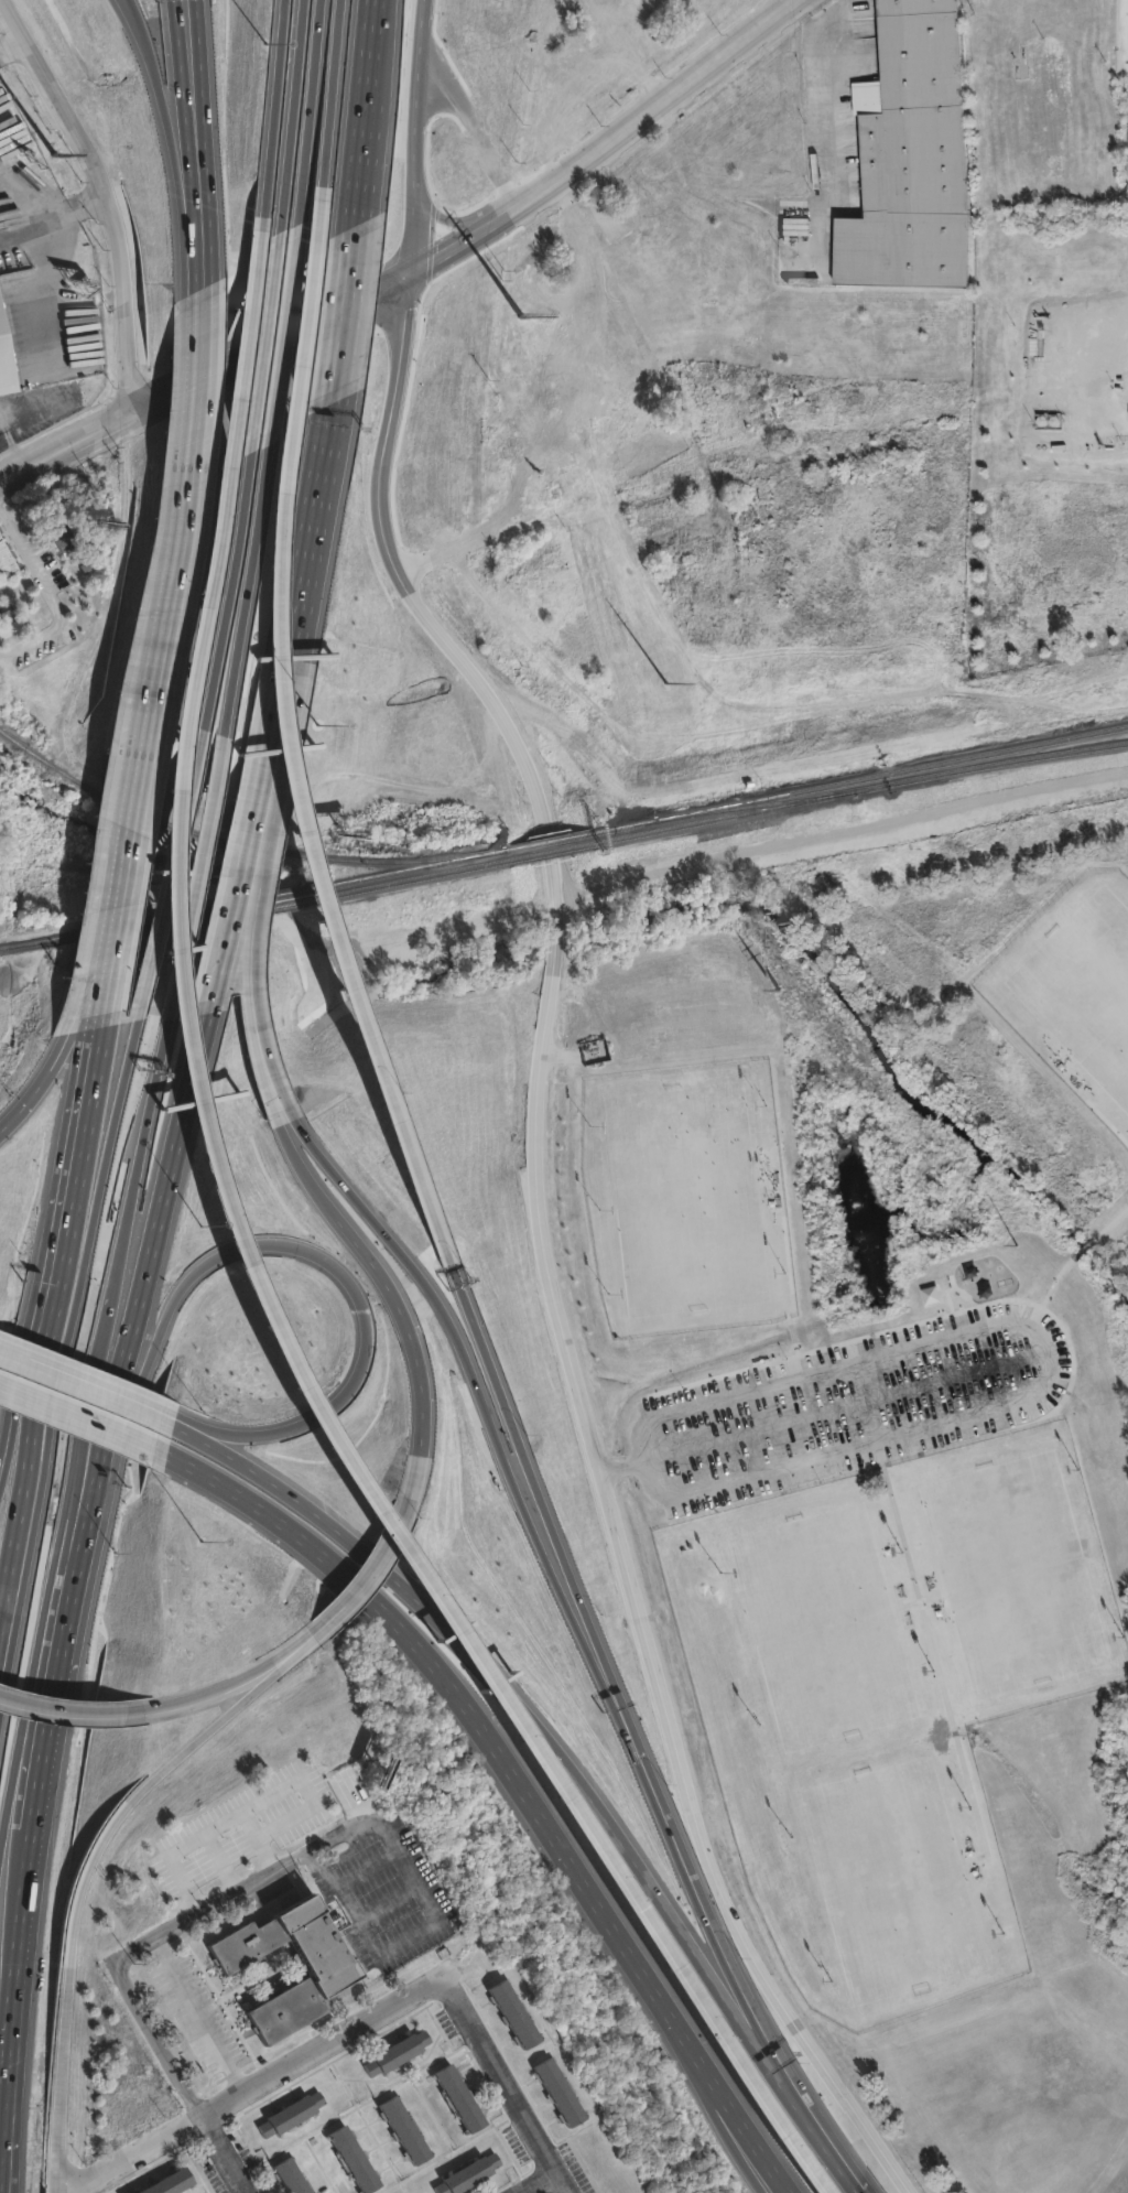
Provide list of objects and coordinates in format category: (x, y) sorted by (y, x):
road: (137, 1)
road: (191, 36)
road: (195, 36)
road: (379, 54)
road: (329, 91)
road: (307, 111)
road: (290, 115)
road: (269, 116)
road: (828, 131)
road: (414, 133)
road: (177, 145)
building: (914, 159)
road: (369, 163)
power tower: (63, 175)
road: (208, 177)
road: (25, 193)
road: (108, 194)
road: (19, 242)
road: (39, 256)
road: (416, 266)
road: (350, 307)
road: (282, 326)
road: (263, 334)
building: (4, 368)
road: (209, 397)
road: (194, 403)
road: (220, 478)
building: (105, 522)
building: (59, 541)
road: (304, 576)
road: (223, 587)
road: (243, 587)
road: (47, 592)
building: (17, 599)
building: (7, 618)
road: (163, 685)
road: (280, 738)
power tower: (561, 758)
road: (272, 770)
railway: (847, 782)
railway: (848, 795)
railway: (734, 811)
railway: (546, 842)
railway: (236, 844)
road: (262, 852)
railway: (551, 855)
railway: (422, 866)
road: (171, 869)
road: (195, 872)
railway: (427, 879)
road: (247, 883)
road: (127, 888)
railway: (276, 896)
railway: (279, 908)
railway: (116, 928)
railway: (163, 928)
park: (832, 936)
road: (106, 951)
road: (122, 952)
road: (256, 952)
road: (261, 952)
park: (1082, 986)
power tower: (787, 1002)
road: (110, 1057)
road: (57, 1071)
road: (282, 1105)
road: (1095, 1112)
road: (141, 1133)
road: (109, 1169)
park: (683, 1199)
road: (1109, 1223)
road: (265, 1241)
road: (545, 1242)
road: (240, 1246)
road: (1081, 1250)
power tower: (1024, 1264)
road: (788, 1273)
road: (155, 1282)
road: (1046, 1292)
road: (48, 1293)
road: (464, 1330)
road: (422, 1344)
road: (94, 1370)
road: (56, 1371)
road: (1051, 1373)
road: (91, 1384)
parking lot: (849, 1406)
road: (89, 1409)
road: (87, 1471)
road: (547, 1480)
road: (63, 1521)
road: (378, 1566)
park: (1017, 1576)
road: (916, 1600)
road: (67, 1629)
road: (2, 1630)
park: (824, 1630)
road: (317, 1631)
road: (456, 1668)
road: (936, 1668)
road: (236, 1679)
road: (527, 1704)
road: (78, 1713)
road: (43, 1753)
road: (261, 1801)
road: (4, 1813)
road: (220, 1861)
road: (286, 1865)
road: (91, 1866)
road: (366, 1868)
park: (892, 1882)
road: (704, 1887)
road: (386, 1903)
road: (193, 1914)
road: (432, 1917)
road: (670, 1949)
road: (20, 1953)
building: (330, 1968)
road: (199, 2014)
building: (514, 2014)
road: (155, 2040)
road: (322, 2044)
building: (397, 2054)
road: (725, 2079)
road: (713, 2081)
road: (503, 2083)
building: (560, 2093)
building: (459, 2099)
road: (89, 2104)
building: (292, 2115)
road: (186, 2125)
building: (405, 2131)
road: (11, 2132)
road: (17, 2132)
road: (79, 2133)
road: (822, 2133)
road: (224, 2154)
road: (119, 2161)
building: (355, 2161)
building: (469, 2175)
building: (291, 2178)
road: (116, 2179)
building: (172, 2183)
road: (538, 2183)
road: (62, 2185)

